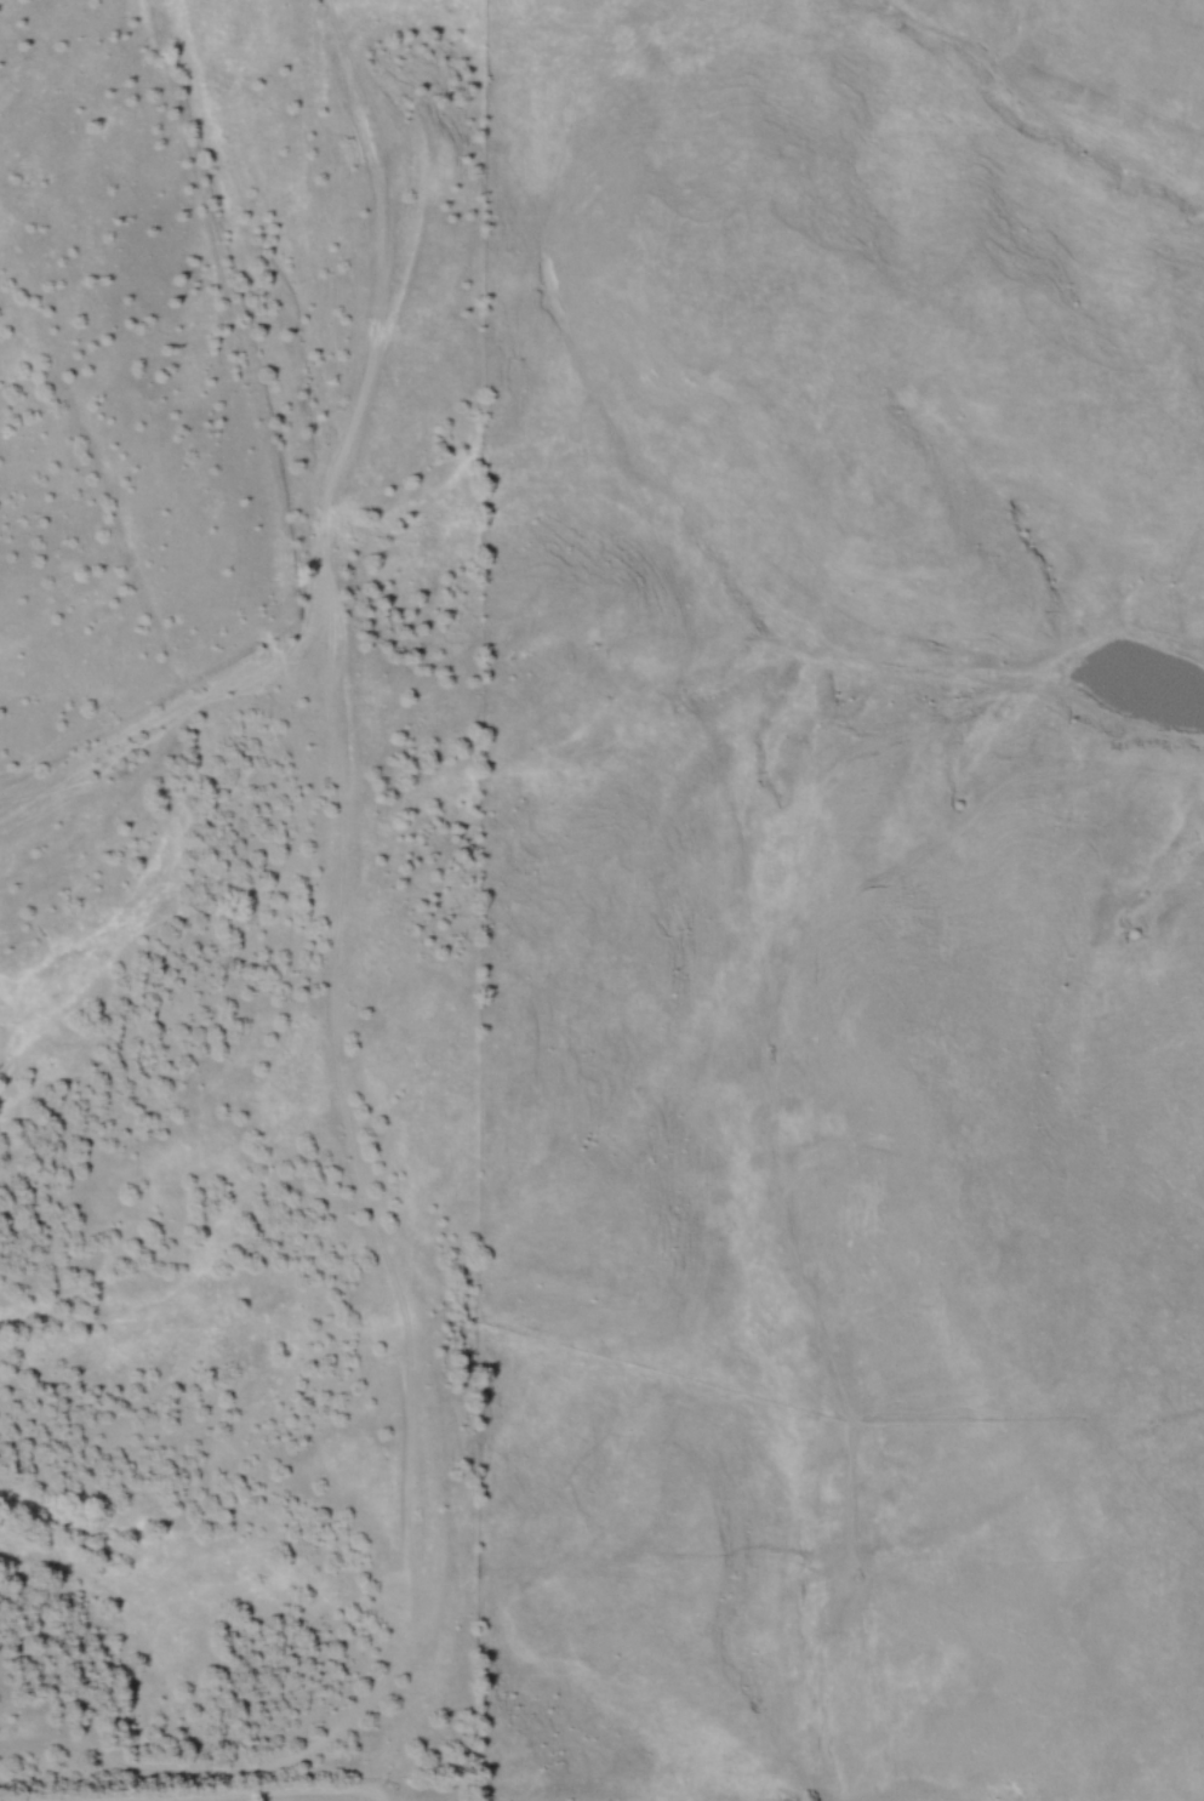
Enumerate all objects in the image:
park: (236, 1788)
road: (223, 1795)

